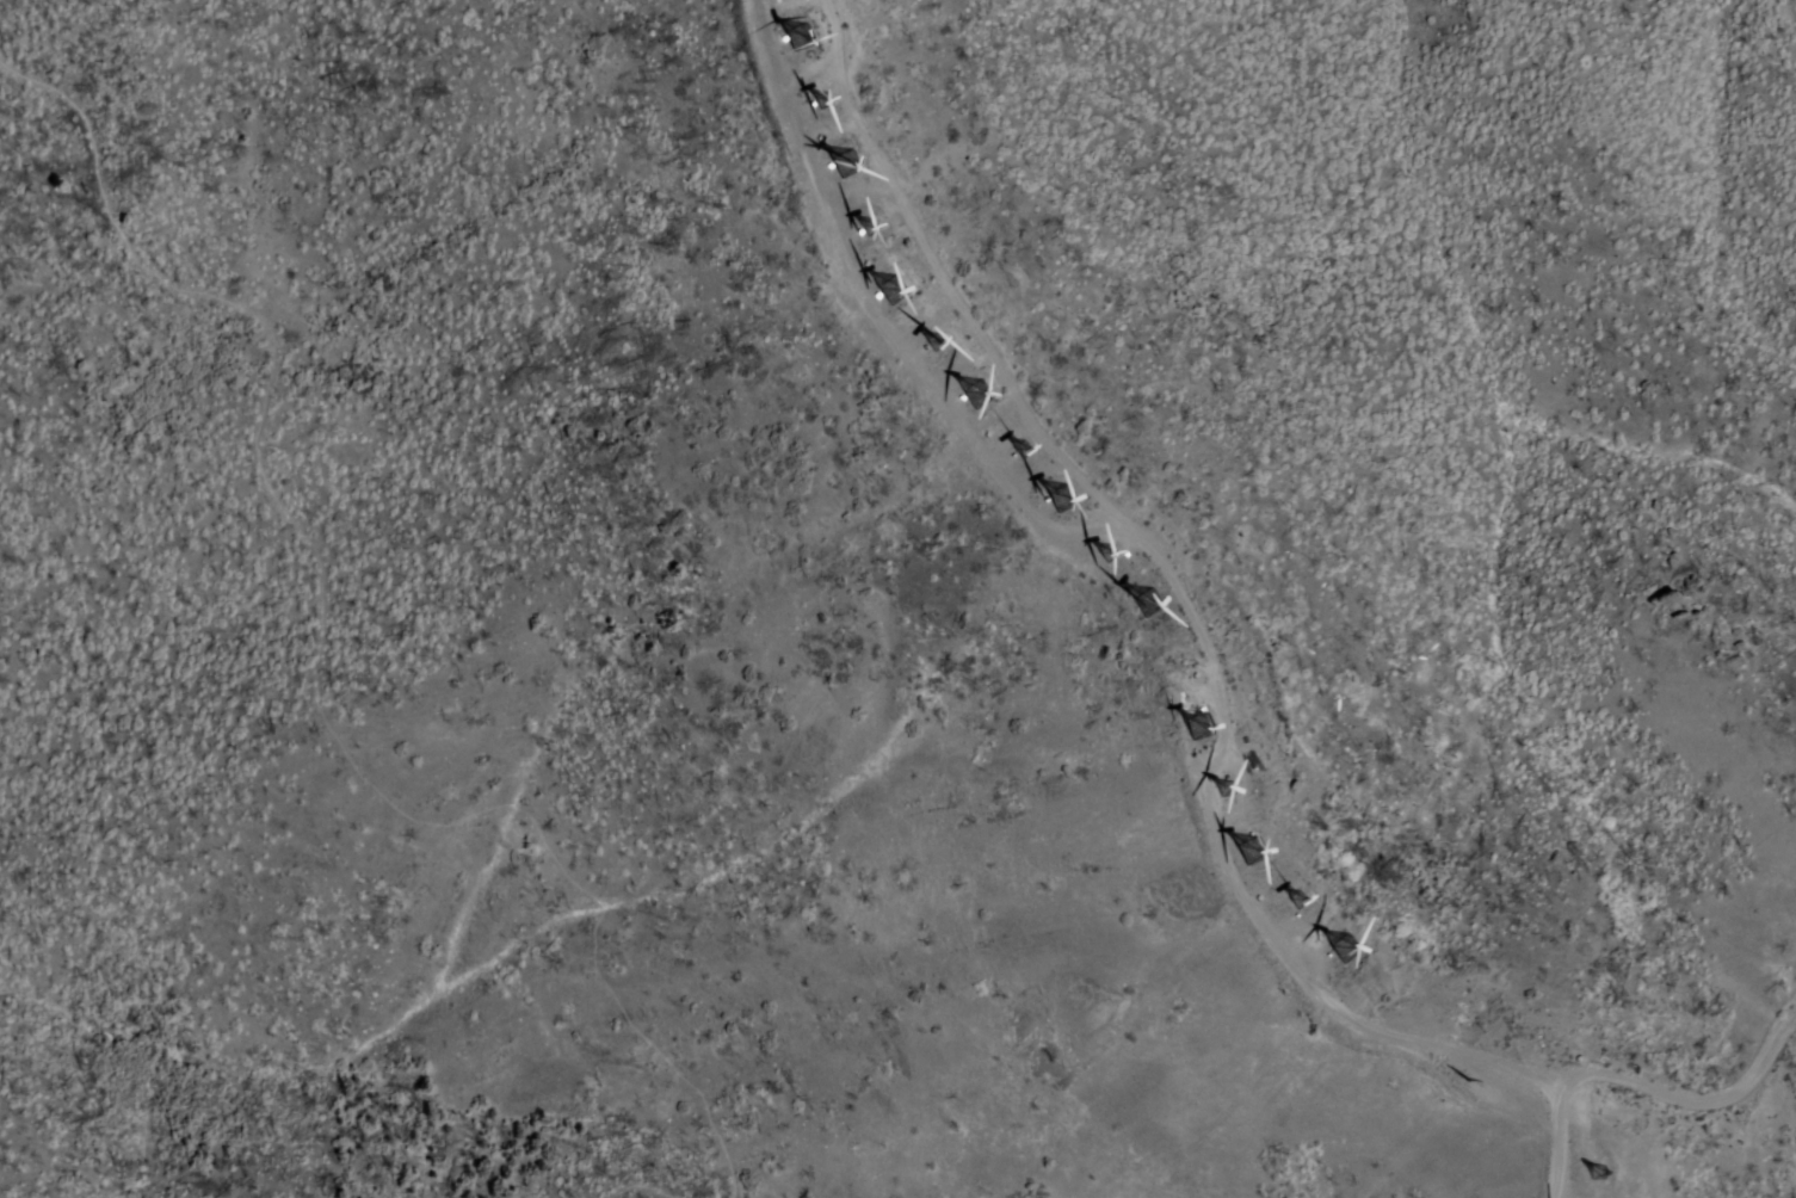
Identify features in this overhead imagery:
wind turbine: (789, 42)
wind turbine: (810, 101)
building: (845, 163)
wind turbine: (844, 166)
wind turbine: (864, 228)
wind turbine: (885, 295)
wind turbine: (928, 347)
building: (976, 395)
wind turbine: (971, 399)
wind turbine: (1018, 453)
building: (1060, 499)
wind turbine: (1057, 506)
wind turbine: (1106, 566)
building: (1144, 601)
wind turbine: (1136, 609)
road: (1187, 634)
road: (314, 668)
wind turbine: (1171, 678)
wind turbine: (1195, 736)
wind turbine: (1228, 795)
wind turbine: (1252, 854)
wind turbine: (1296, 910)
wind turbine: (1343, 961)
road: (1673, 1087)
wind turbine: (1601, 1175)
road: (638, 1186)

